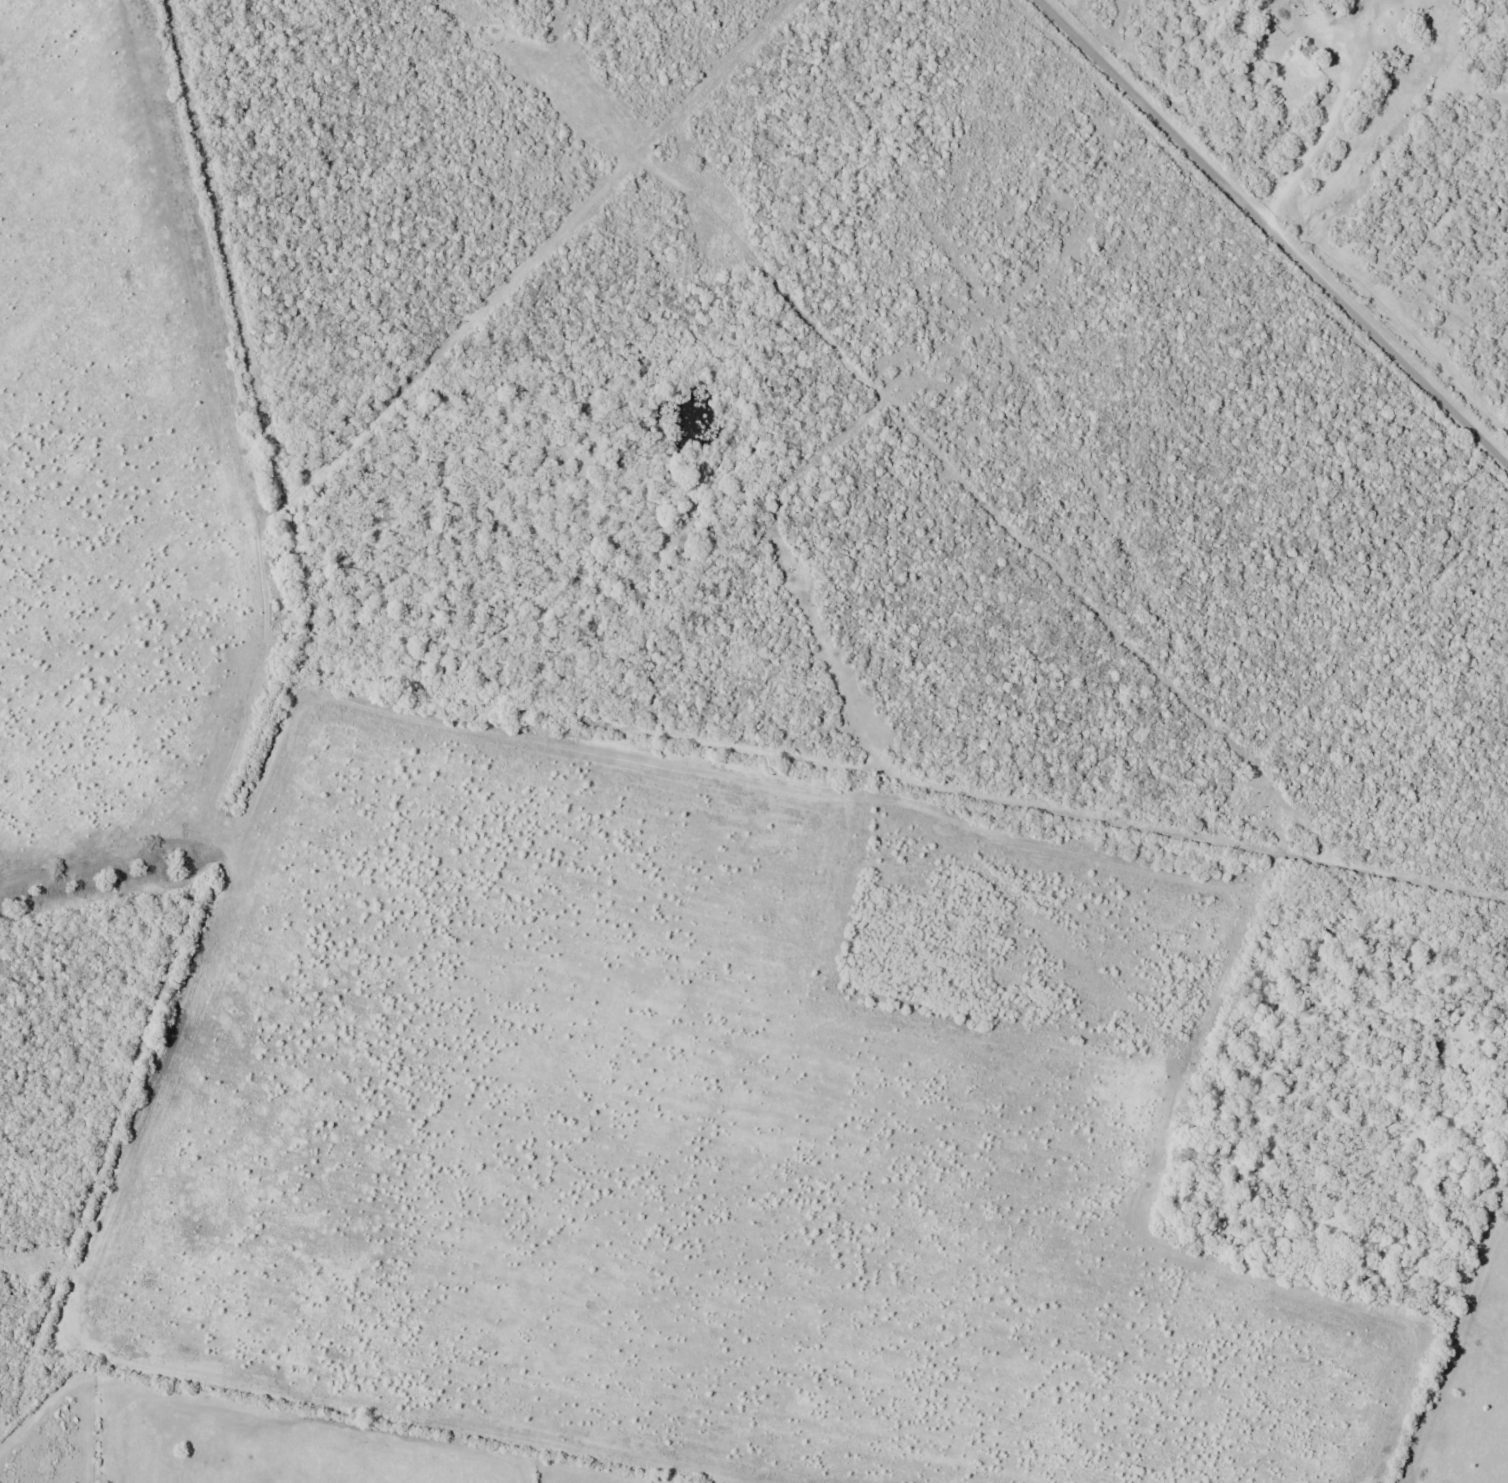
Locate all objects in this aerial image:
road: (1272, 233)

